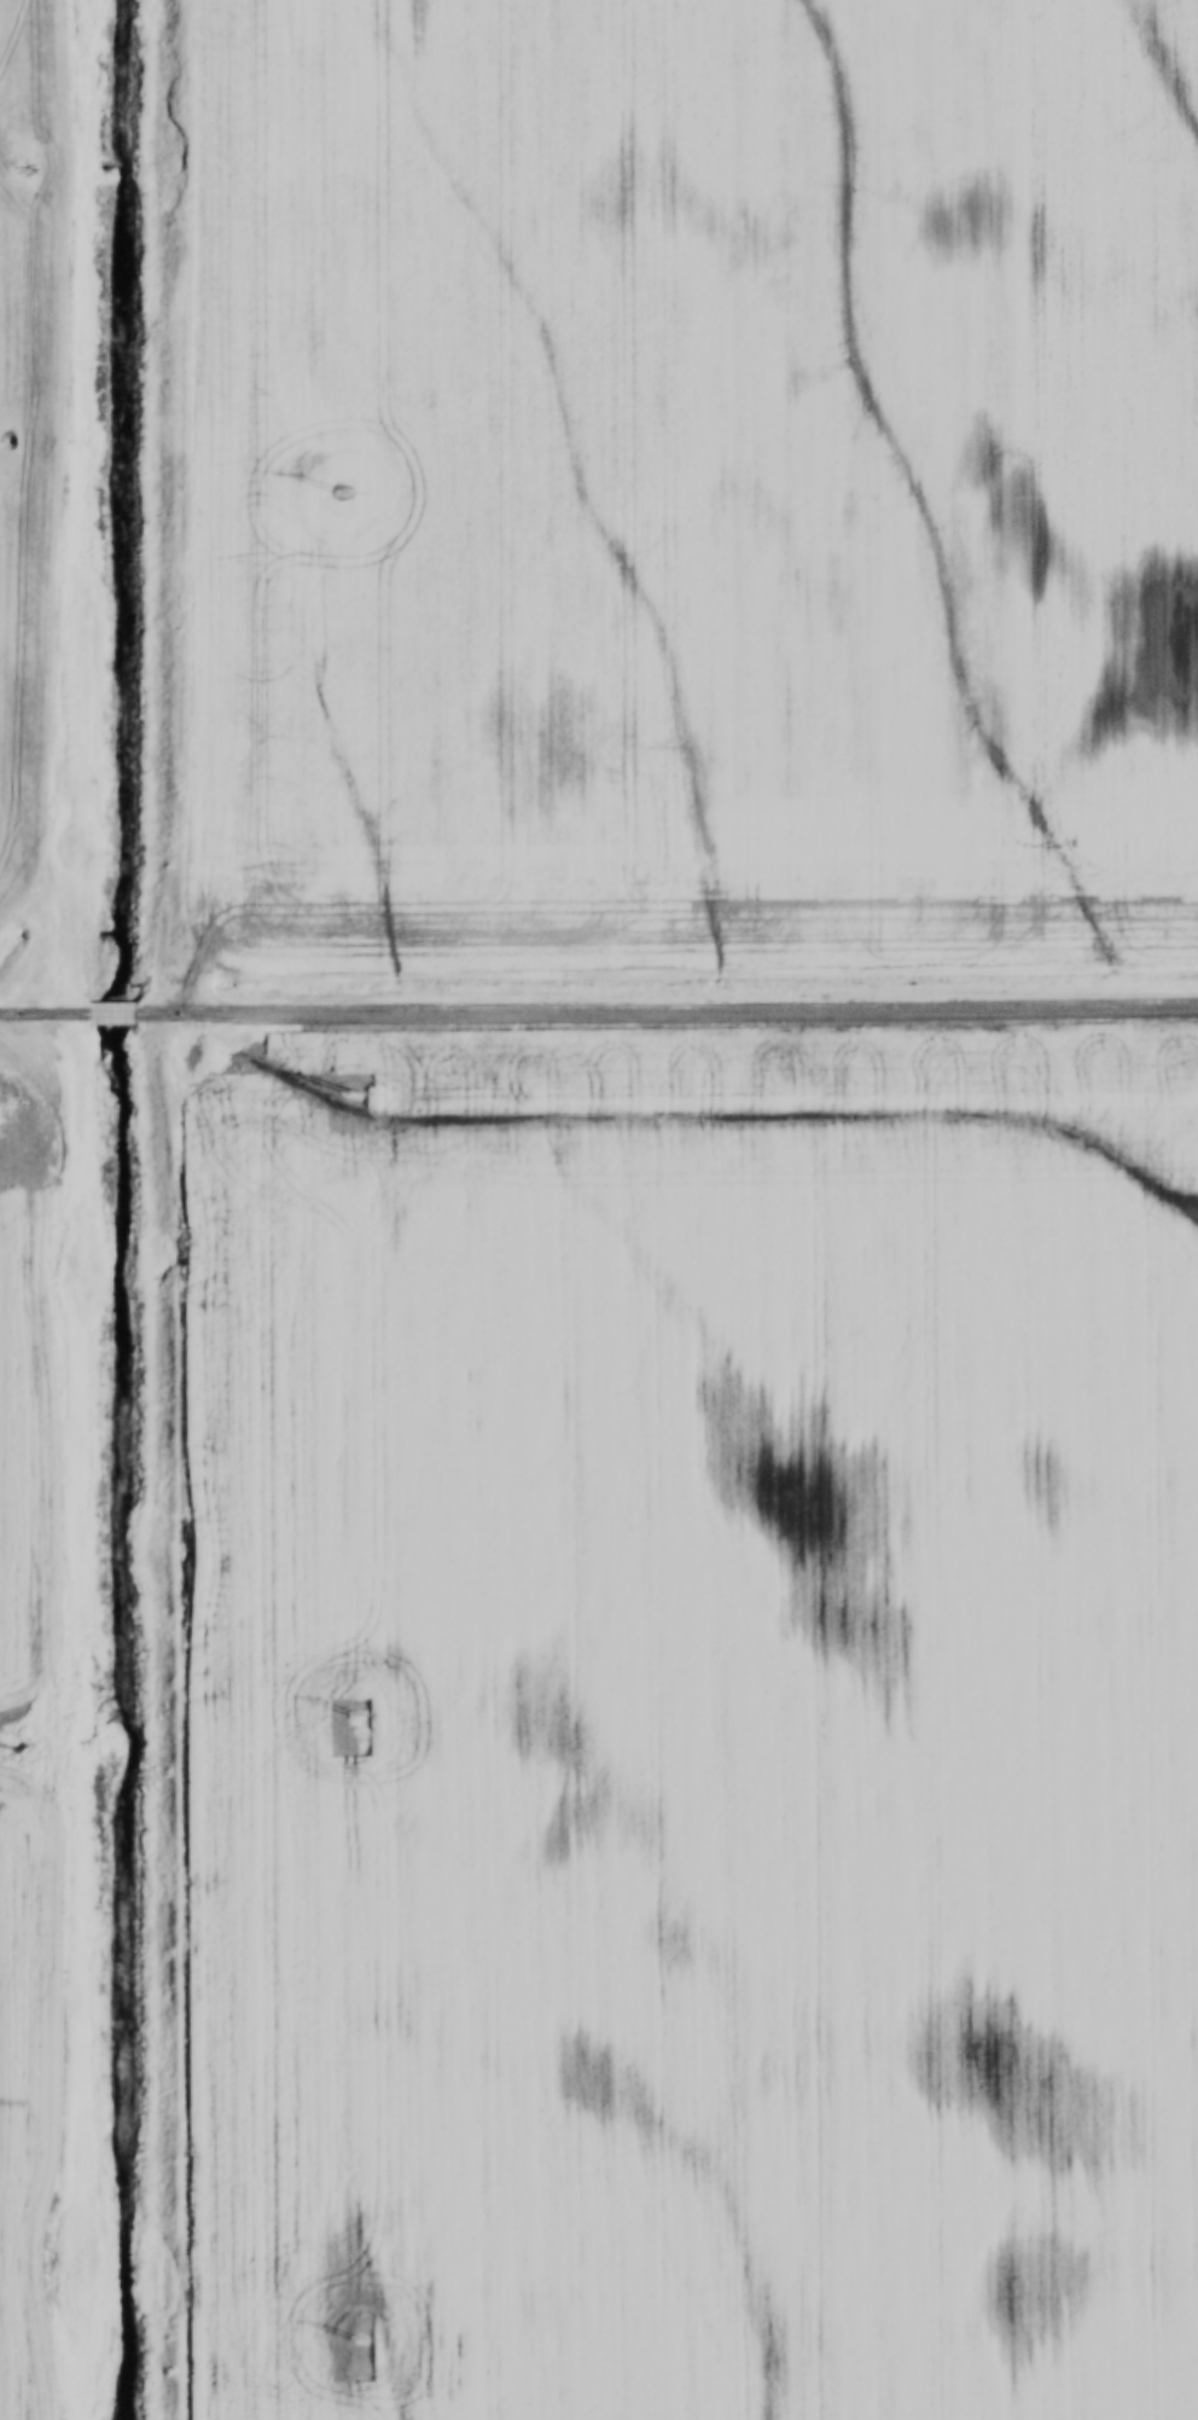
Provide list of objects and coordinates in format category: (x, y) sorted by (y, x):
power tower: (345, 494)
road: (665, 1014)
road: (46, 1017)
road: (114, 1017)
power tower: (355, 1093)
power tower: (357, 1714)
power tower: (361, 2339)

